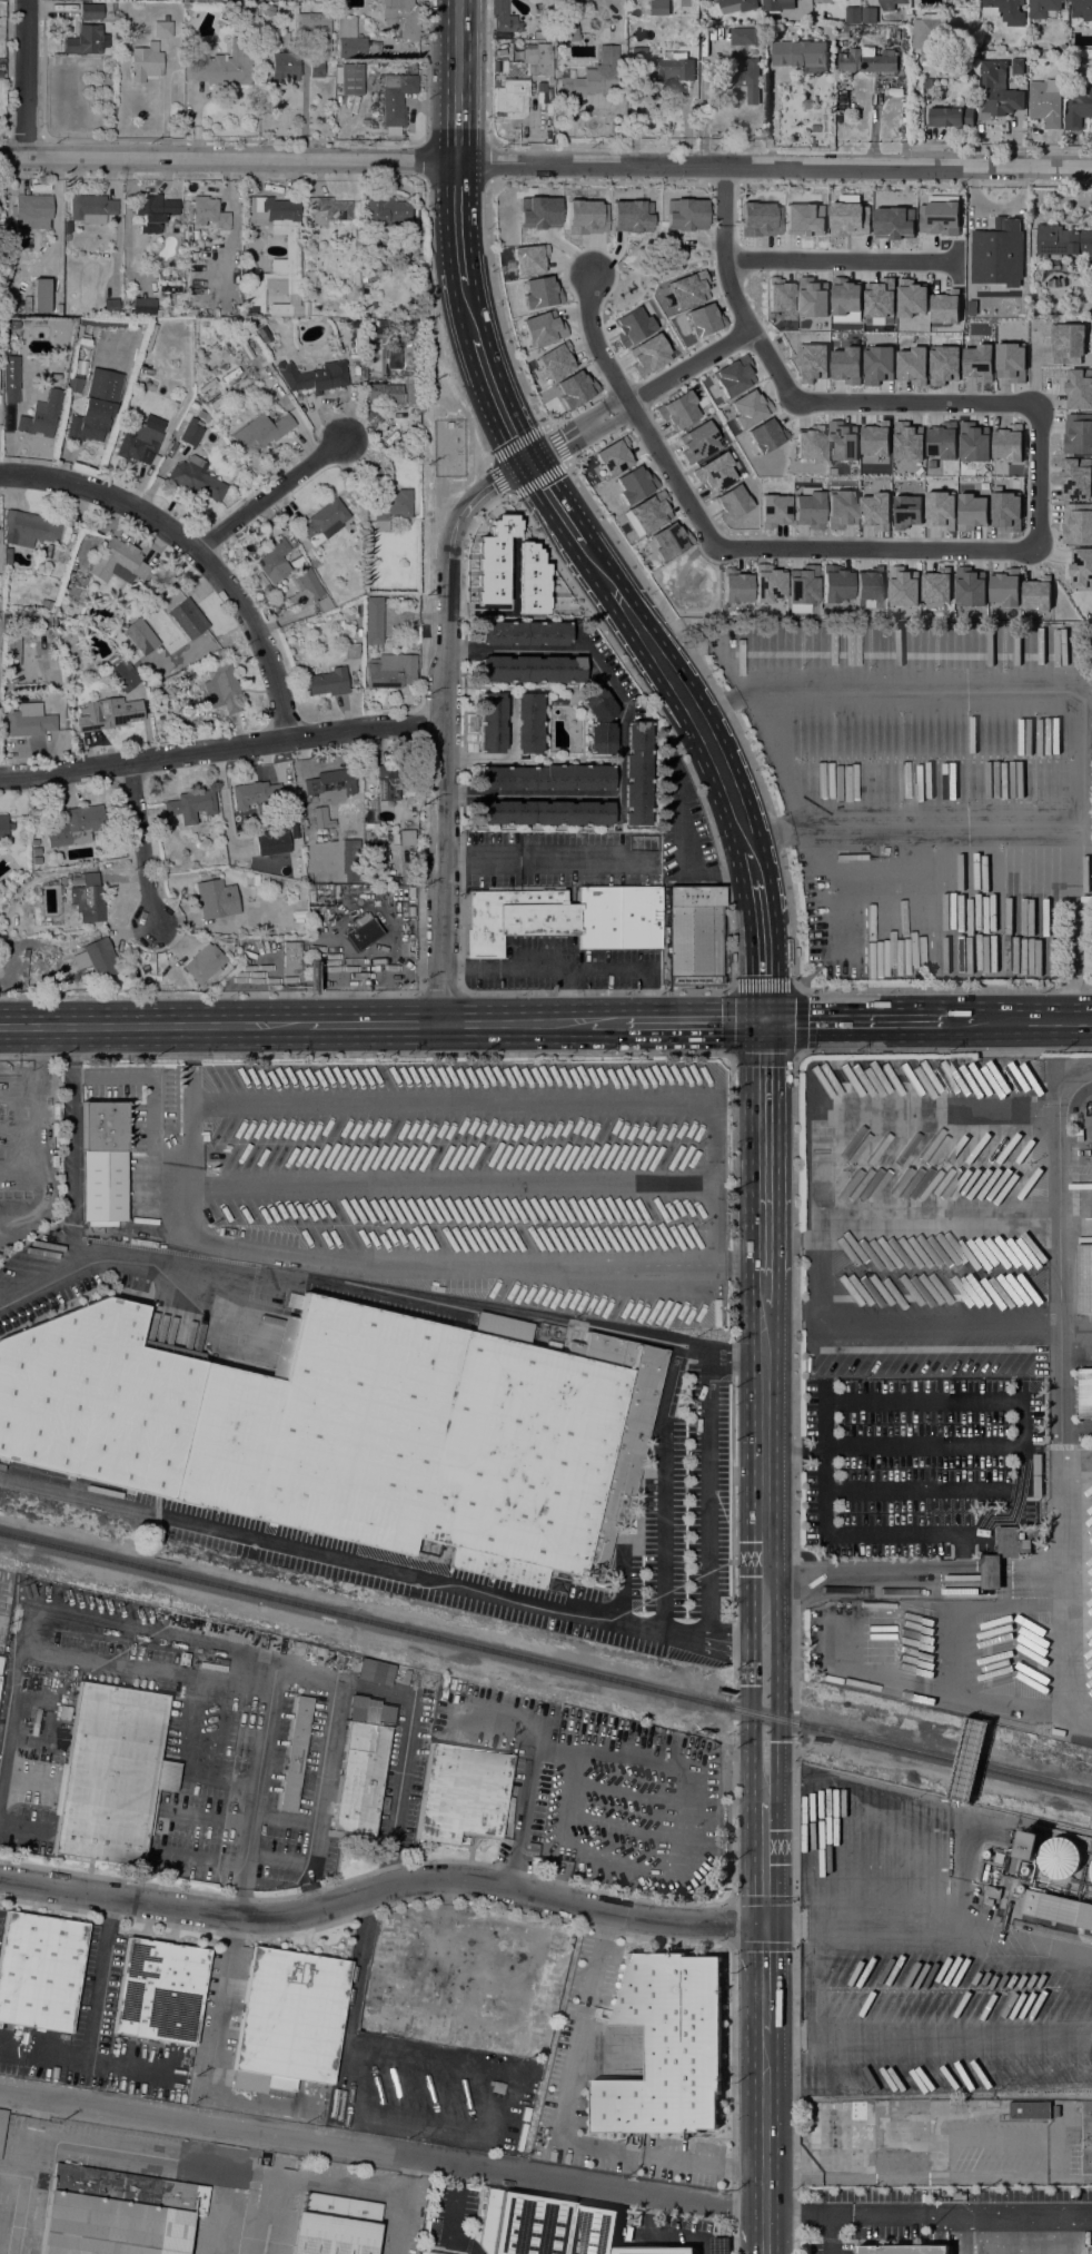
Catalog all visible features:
building: (702, 0)
building: (826, 0)
building: (890, 3)
building: (776, 4)
building: (736, 6)
building: (659, 8)
building: (802, 8)
building: (1042, 8)
building: (1081, 9)
building: (1004, 11)
building: (90, 12)
building: (249, 13)
building: (853, 14)
building: (868, 14)
building: (400, 17)
building: (503, 18)
building: (314, 28)
building: (161, 29)
building: (568, 32)
building: (831, 32)
building: (842, 32)
building: (905, 32)
building: (746, 36)
building: (929, 36)
building: (351, 38)
building: (85, 40)
building: (285, 40)
building: (1062, 46)
building: (798, 52)
building: (540, 60)
building: (866, 60)
building: (145, 61)
building: (91, 62)
building: (370, 65)
building: (394, 65)
building: (663, 65)
building: (222, 66)
building: (1017, 66)
building: (285, 68)
building: (318, 69)
building: (595, 75)
building: (1064, 76)
road: (23, 79)
building: (350, 79)
building: (752, 80)
road: (456, 81)
building: (927, 83)
building: (997, 91)
building: (508, 98)
building: (395, 101)
building: (1045, 101)
road: (704, 102)
building: (810, 103)
building: (1078, 105)
building: (952, 115)
road: (486, 162)
road: (545, 164)
road: (576, 182)
road: (723, 195)
road: (456, 206)
building: (90, 209)
building: (328, 210)
building: (31, 211)
building: (153, 211)
building: (208, 211)
building: (385, 211)
building: (805, 219)
building: (850, 219)
building: (760, 220)
building: (895, 223)
building: (66, 237)
building: (411, 238)
building: (1063, 240)
building: (996, 243)
building: (292, 247)
road: (836, 260)
building: (309, 280)
building: (54, 293)
building: (40, 295)
building: (111, 306)
building: (143, 306)
building: (235, 310)
building: (13, 325)
building: (377, 326)
building: (542, 328)
road: (727, 343)
building: (1066, 343)
building: (354, 353)
road: (480, 358)
building: (1010, 360)
building: (555, 362)
building: (976, 363)
building: (877, 364)
building: (943, 364)
building: (845, 365)
building: (912, 365)
building: (312, 376)
building: (10, 378)
building: (73, 384)
building: (396, 384)
building: (1078, 388)
building: (203, 389)
building: (40, 395)
road: (872, 403)
building: (96, 406)
building: (192, 408)
building: (745, 408)
building: (677, 411)
building: (41, 415)
building: (261, 431)
building: (190, 433)
building: (1078, 433)
building: (763, 435)
road: (568, 438)
building: (875, 438)
building: (141, 439)
building: (941, 439)
building: (841, 441)
building: (696, 442)
building: (907, 442)
building: (973, 442)
building: (1007, 443)
building: (810, 445)
building: (613, 456)
traffic signals: (528, 463)
building: (713, 473)
building: (195, 477)
building: (1074, 477)
road: (497, 480)
building: (634, 483)
road: (268, 495)
road: (549, 498)
building: (729, 502)
building: (391, 508)
building: (840, 508)
building: (808, 510)
building: (940, 510)
building: (1005, 510)
building: (773, 511)
building: (874, 511)
building: (906, 511)
building: (971, 511)
building: (646, 514)
building: (325, 520)
building: (1076, 523)
building: (32, 528)
building: (667, 541)
road: (793, 548)
road: (195, 551)
building: (118, 562)
building: (274, 562)
building: (1080, 567)
building: (490, 571)
building: (324, 575)
building: (302, 579)
building: (529, 581)
building: (767, 583)
building: (834, 584)
building: (868, 584)
building: (802, 585)
building: (935, 585)
building: (77, 586)
building: (734, 586)
building: (902, 586)
building: (969, 586)
building: (1004, 586)
building: (349, 591)
building: (1035, 594)
building: (358, 611)
building: (187, 619)
building: (36, 620)
building: (373, 621)
building: (360, 633)
building: (523, 633)
building: (119, 644)
building: (350, 651)
building: (112, 660)
building: (530, 670)
building: (390, 671)
building: (126, 679)
building: (324, 682)
building: (221, 688)
road: (682, 693)
building: (556, 701)
building: (108, 714)
building: (30, 721)
building: (598, 721)
road: (440, 723)
building: (490, 723)
building: (527, 723)
road: (618, 734)
road: (219, 748)
building: (635, 773)
building: (546, 778)
building: (391, 781)
building: (330, 784)
building: (252, 794)
building: (191, 805)
building: (544, 813)
building: (317, 814)
building: (3, 827)
building: (76, 827)
road: (1038, 827)
road: (800, 829)
road: (766, 832)
building: (257, 834)
building: (406, 837)
road: (141, 841)
building: (33, 842)
road: (780, 846)
building: (349, 849)
building: (884, 850)
building: (33, 852)
road: (479, 859)
building: (33, 860)
road: (585, 860)
building: (276, 862)
building: (51, 866)
building: (291, 873)
road: (757, 887)
building: (87, 898)
building: (216, 899)
building: (572, 913)
building: (301, 922)
building: (363, 932)
building: (694, 935)
building: (36, 952)
building: (291, 958)
building: (95, 959)
road: (763, 960)
building: (203, 963)
road: (795, 988)
road: (618, 991)
road: (441, 992)
road: (209, 995)
road: (1032, 1020)
traffic signals: (764, 1021)
road: (851, 1021)
road: (956, 1021)
road: (516, 1022)
road: (606, 1022)
road: (693, 1022)
road: (371, 1024)
road: (150, 1026)
road: (943, 1051)
building: (962, 1077)
road: (18, 1089)
road: (532, 1103)
road: (152, 1105)
building: (1069, 1120)
road: (18, 1135)
road: (36, 1138)
road: (765, 1148)
building: (103, 1164)
road: (72, 1172)
road: (18, 1175)
parking lot: (484, 1177)
road: (450, 1184)
road: (369, 1263)
road: (282, 1274)
building: (1084, 1278)
road: (765, 1295)
road: (795, 1307)
road: (851, 1314)
road: (669, 1339)
road: (1058, 1339)
building: (552, 1345)
road: (967, 1353)
building: (1085, 1393)
building: (351, 1428)
road: (765, 1444)
road: (922, 1447)
road: (795, 1453)
building: (1036, 1475)
road: (661, 1484)
road: (733, 1485)
road: (707, 1493)
road: (1005, 1515)
road: (963, 1555)
building: (1002, 1555)
road: (374, 1565)
road: (913, 1576)
road: (795, 1589)
road: (80, 1620)
building: (0, 1659)
railway: (545, 1664)
building: (375, 1672)
road: (307, 1678)
road: (751, 1683)
traffic signals: (751, 1685)
road: (777, 1692)
traffic signals: (778, 1741)
building: (296, 1752)
road: (970, 1760)
building: (361, 1768)
building: (111, 1774)
road: (528, 1778)
road: (320, 1783)
building: (463, 1793)
road: (762, 1803)
building: (1028, 1845)
building: (1060, 1857)
road: (388, 1866)
road: (765, 1868)
building: (1025, 1870)
building: (1091, 1870)
building: (1091, 1879)
road: (381, 1888)
building: (1021, 1888)
building: (993, 1891)
road: (310, 1896)
road: (240, 1902)
building: (1058, 1908)
road: (516, 1909)
road: (731, 1922)
traffic signals: (765, 1925)
road: (795, 1936)
building: (40, 1970)
road: (765, 1979)
building: (160, 1991)
building: (288, 2020)
road: (219, 2021)
road: (87, 2040)
building: (666, 2046)
road: (765, 2065)
building: (497, 2088)
building: (1029, 2109)
building: (1055, 2110)
building: (2, 2124)
road: (556, 2129)
road: (381, 2154)
road: (765, 2175)
airport apron: (190, 2197)
airport: (281, 2204)
airport hangar: (118, 2213)
building: (118, 2213)
road: (927, 2216)
airport hangar: (335, 2226)
building: (335, 2226)
building: (552, 2227)
airport apron: (550, 2228)
road: (665, 2233)
road: (833, 2235)
parking lot: (832, 2250)
building: (902, 2250)
building: (1091, 2250)
airport hangar: (425, 2253)
building: (425, 2253)

